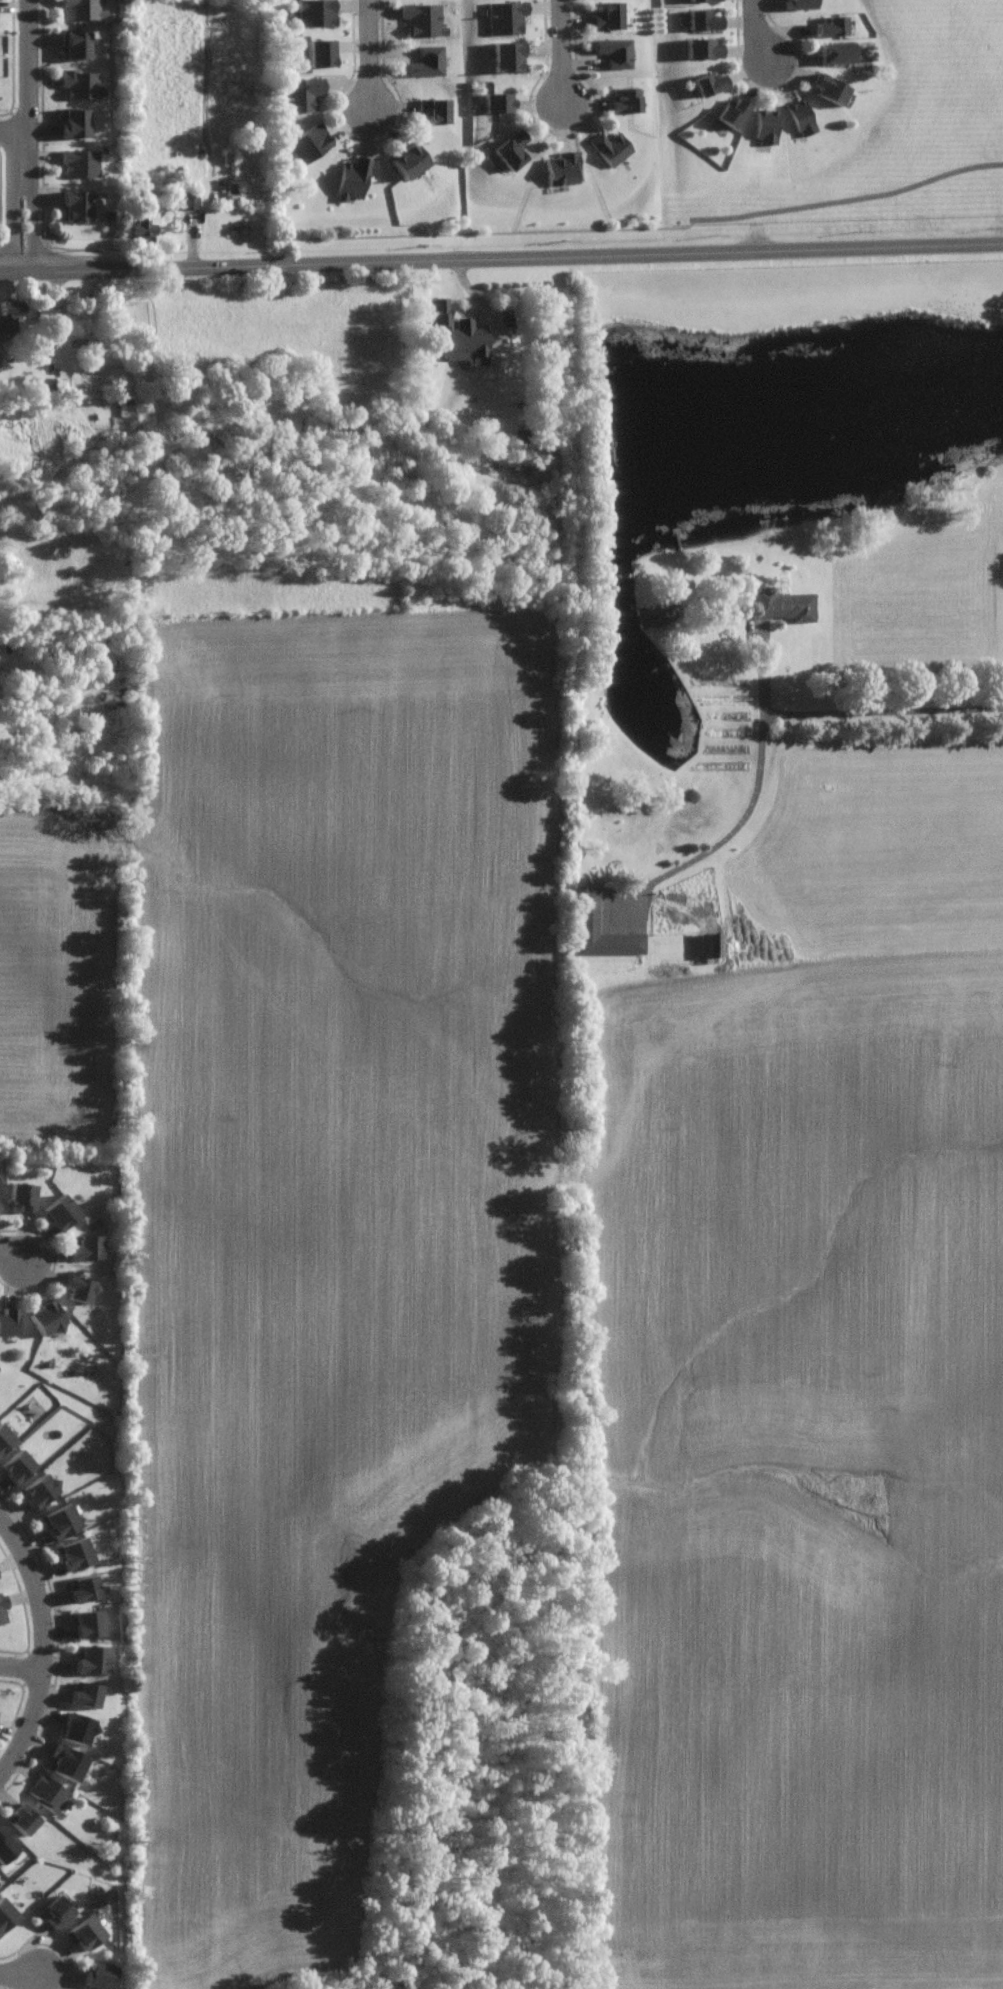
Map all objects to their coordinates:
building: (699, 0)
building: (799, 3)
building: (82, 9)
building: (316, 12)
building: (608, 16)
building: (506, 17)
building: (422, 18)
building: (703, 19)
building: (831, 26)
road: (756, 33)
building: (74, 43)
building: (703, 47)
building: (321, 51)
building: (614, 51)
road: (561, 52)
building: (837, 52)
road: (369, 56)
building: (507, 56)
building: (427, 62)
building: (80, 83)
building: (708, 83)
building: (830, 88)
building: (301, 93)
building: (625, 100)
building: (497, 102)
building: (435, 109)
building: (732, 111)
building: (801, 117)
building: (74, 122)
building: (765, 126)
road: (13, 132)
road: (25, 137)
building: (309, 142)
building: (611, 147)
building: (510, 149)
building: (408, 160)
building: (79, 163)
building: (561, 168)
building: (354, 177)
building: (185, 200)
road: (848, 200)
building: (75, 205)
building: (144, 227)
road: (501, 259)
building: (10, 315)
building: (47, 315)
building: (459, 335)
building: (0, 366)
building: (152, 459)
building: (783, 605)
road: (885, 712)
road: (756, 792)
building: (587, 909)
building: (711, 945)
building: (22, 1195)
building: (61, 1213)
building: (85, 1247)
road: (9, 1255)
building: (77, 1287)
building: (47, 1315)
building: (8, 1320)
building: (4, 1437)
building: (17, 1465)
building: (38, 1491)
building: (58, 1521)
building: (74, 1553)
building: (81, 1588)
building: (2, 1607)
building: (87, 1623)
road: (42, 1646)
building: (91, 1659)
road: (22, 1670)
building: (83, 1694)
building: (75, 1728)
building: (66, 1761)
building: (47, 1794)
building: (22, 1818)
building: (5, 1847)
building: (56, 1911)
building: (5, 1914)
building: (83, 1932)
building: (100, 1976)
road: (16, 1978)

